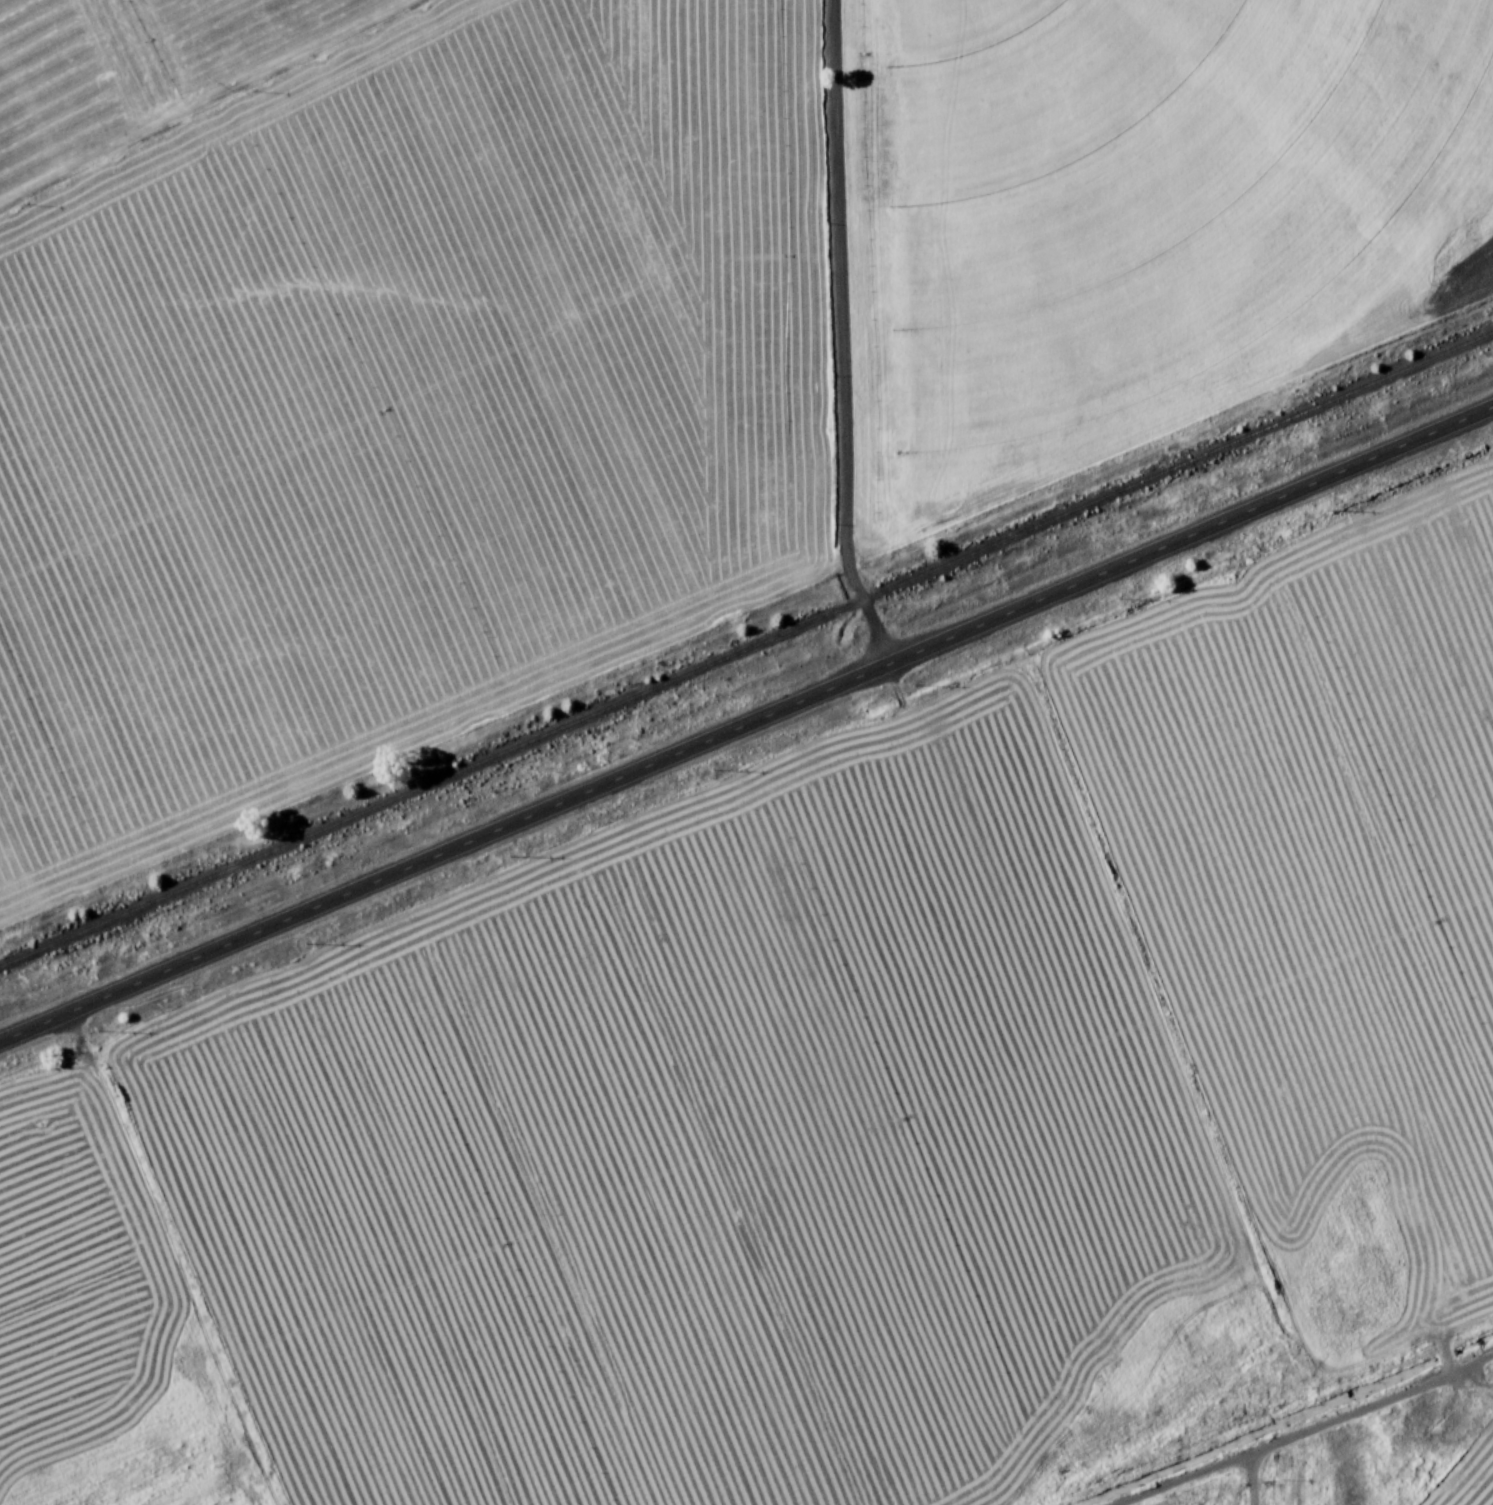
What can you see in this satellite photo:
road: (835, 340)
railway: (746, 653)
road: (747, 731)

